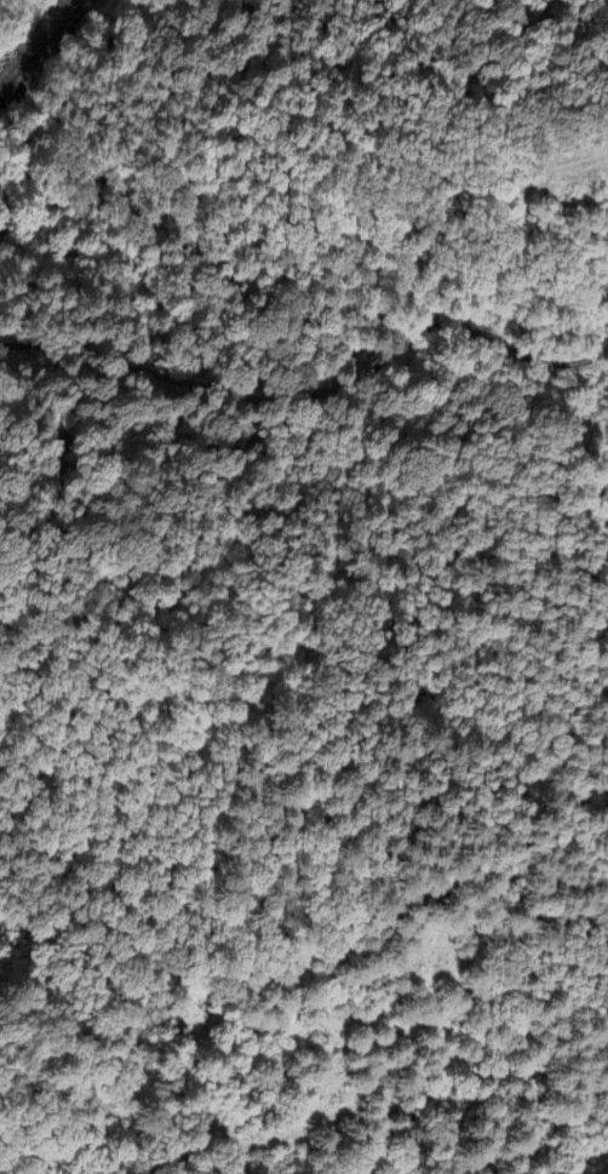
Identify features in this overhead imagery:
railway: (40, 46)
road: (7, 208)
road: (317, 391)

